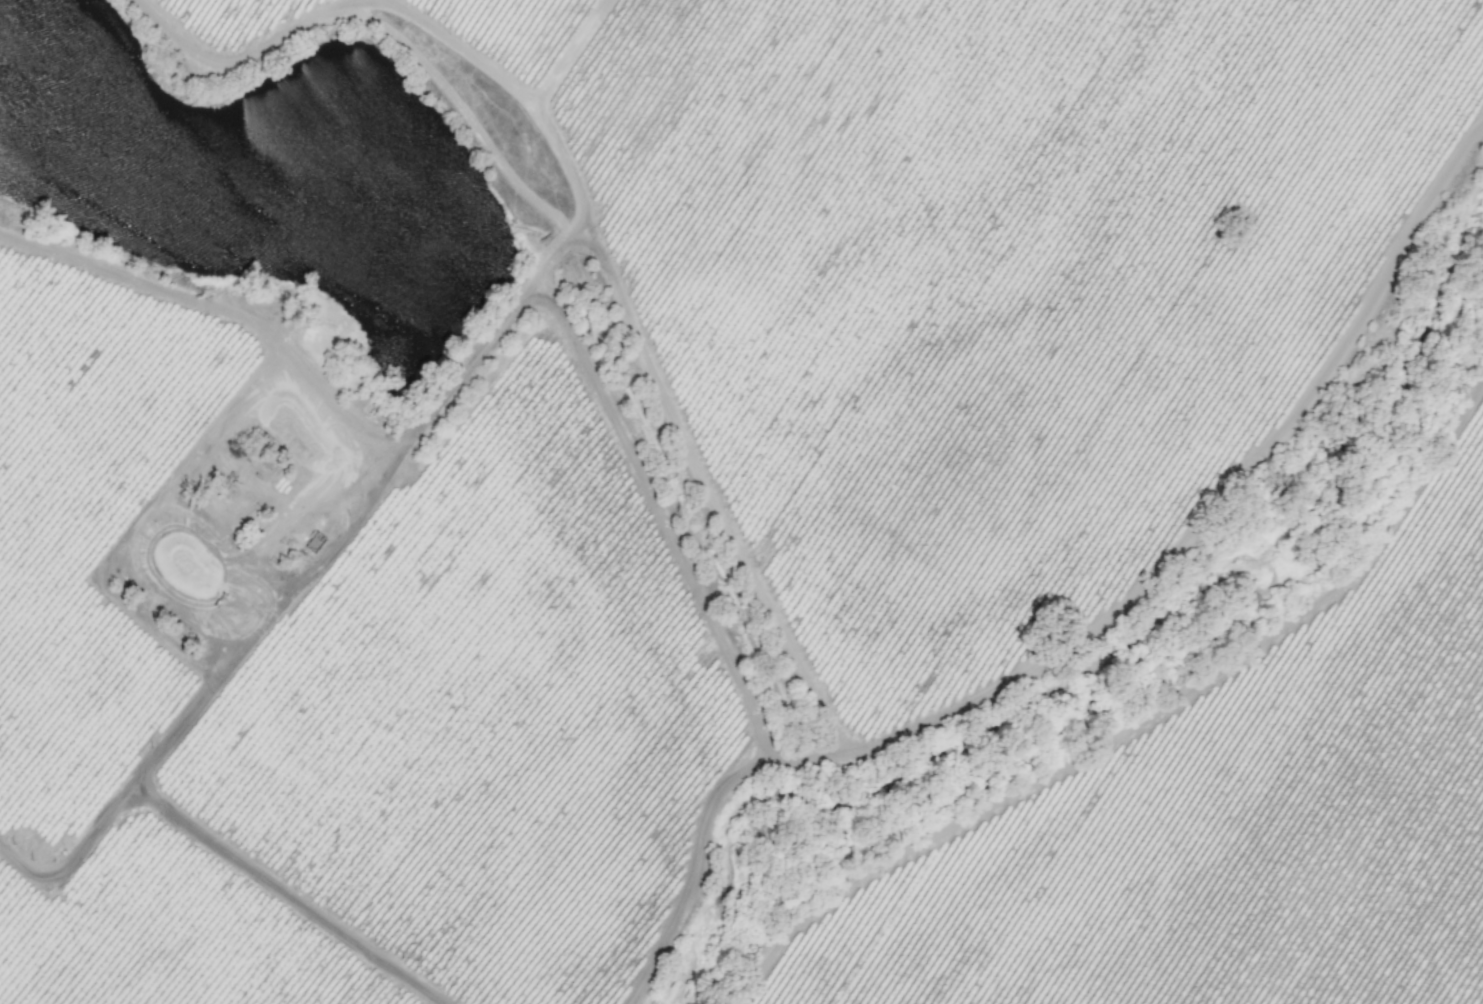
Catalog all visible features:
crop: (261, 262)

